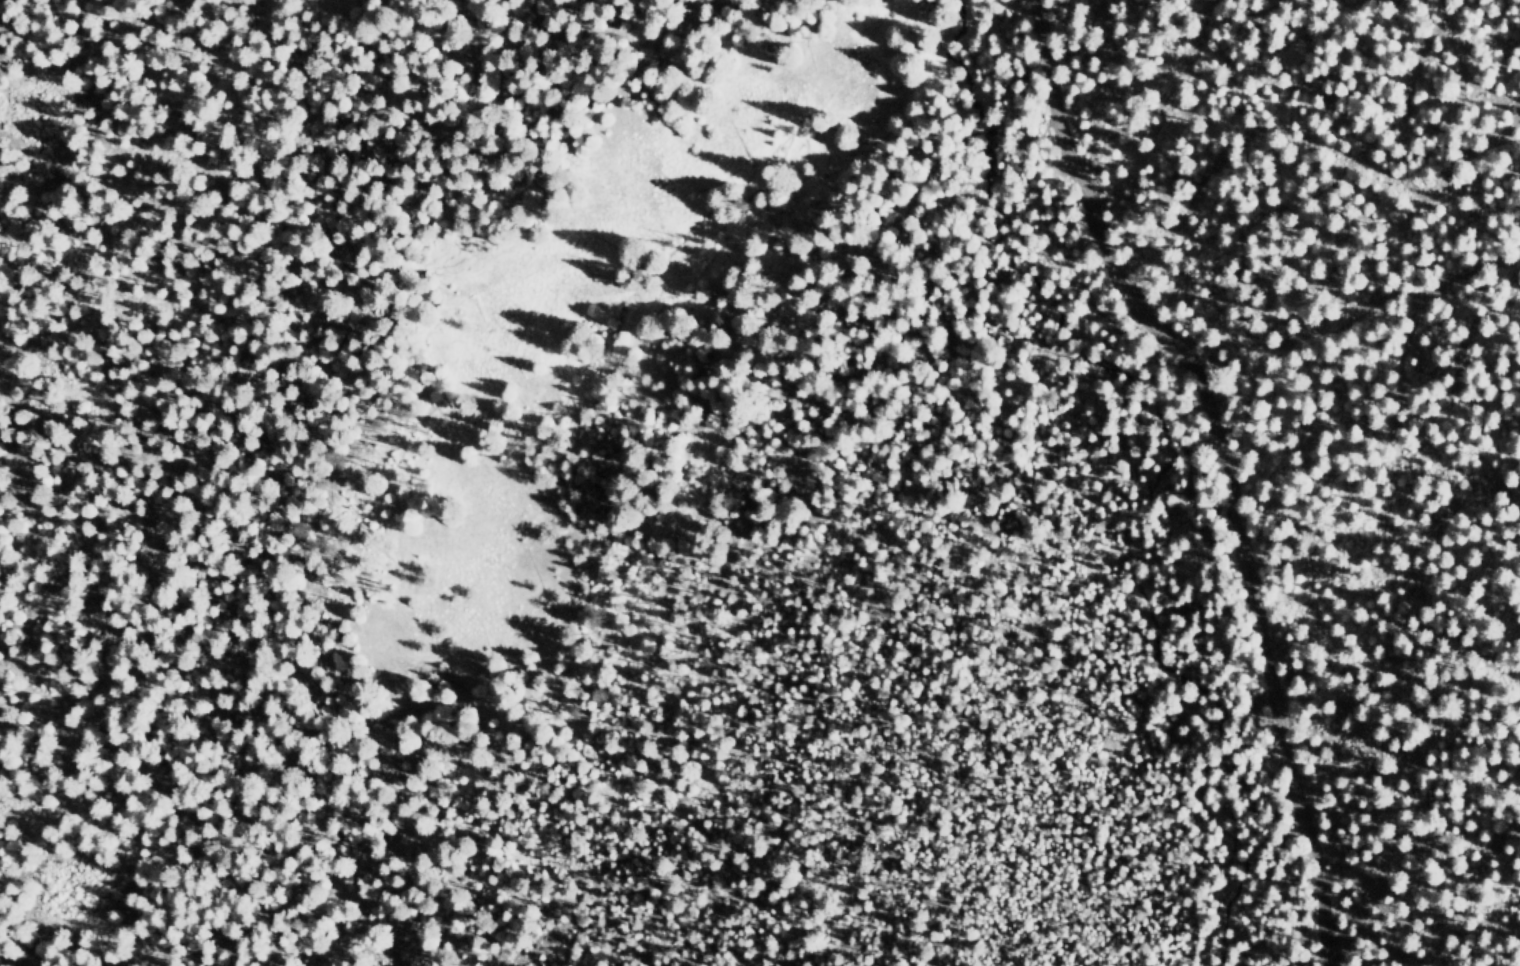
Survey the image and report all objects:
road: (1224, 466)

